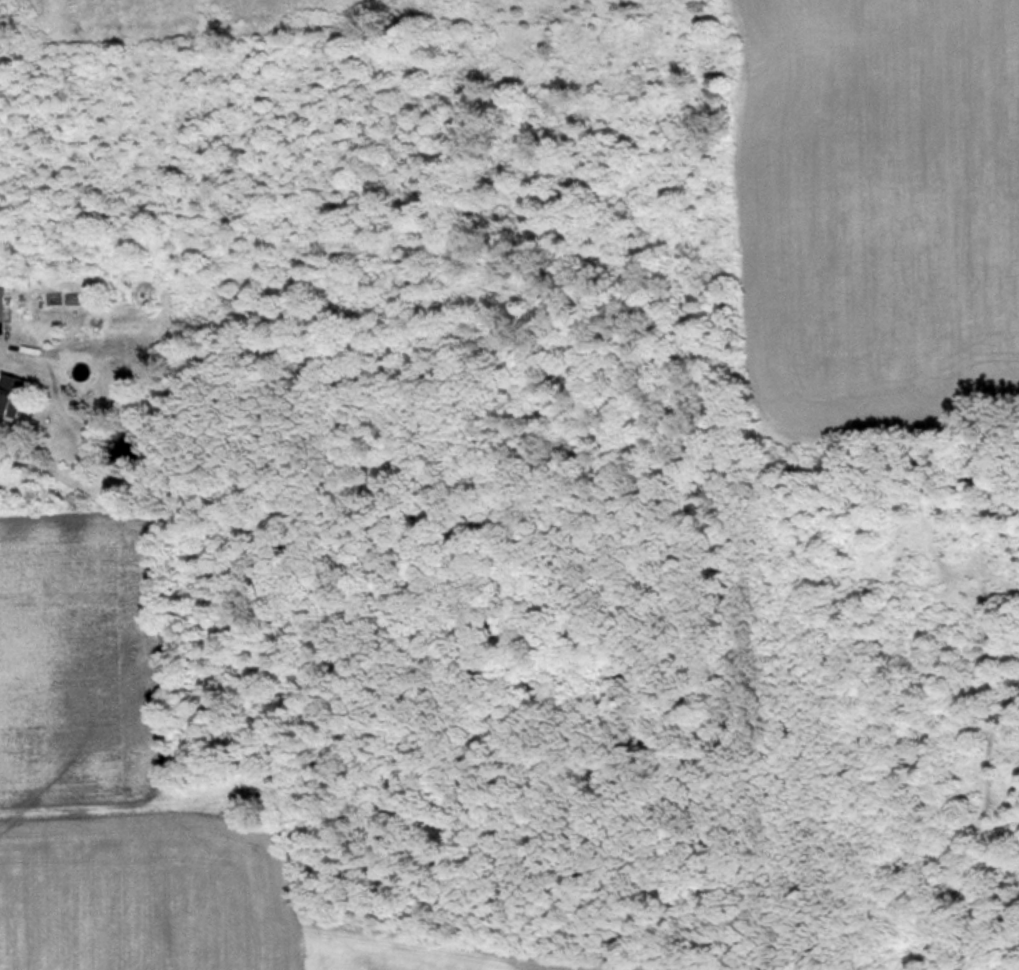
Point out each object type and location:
building: (15, 394)

